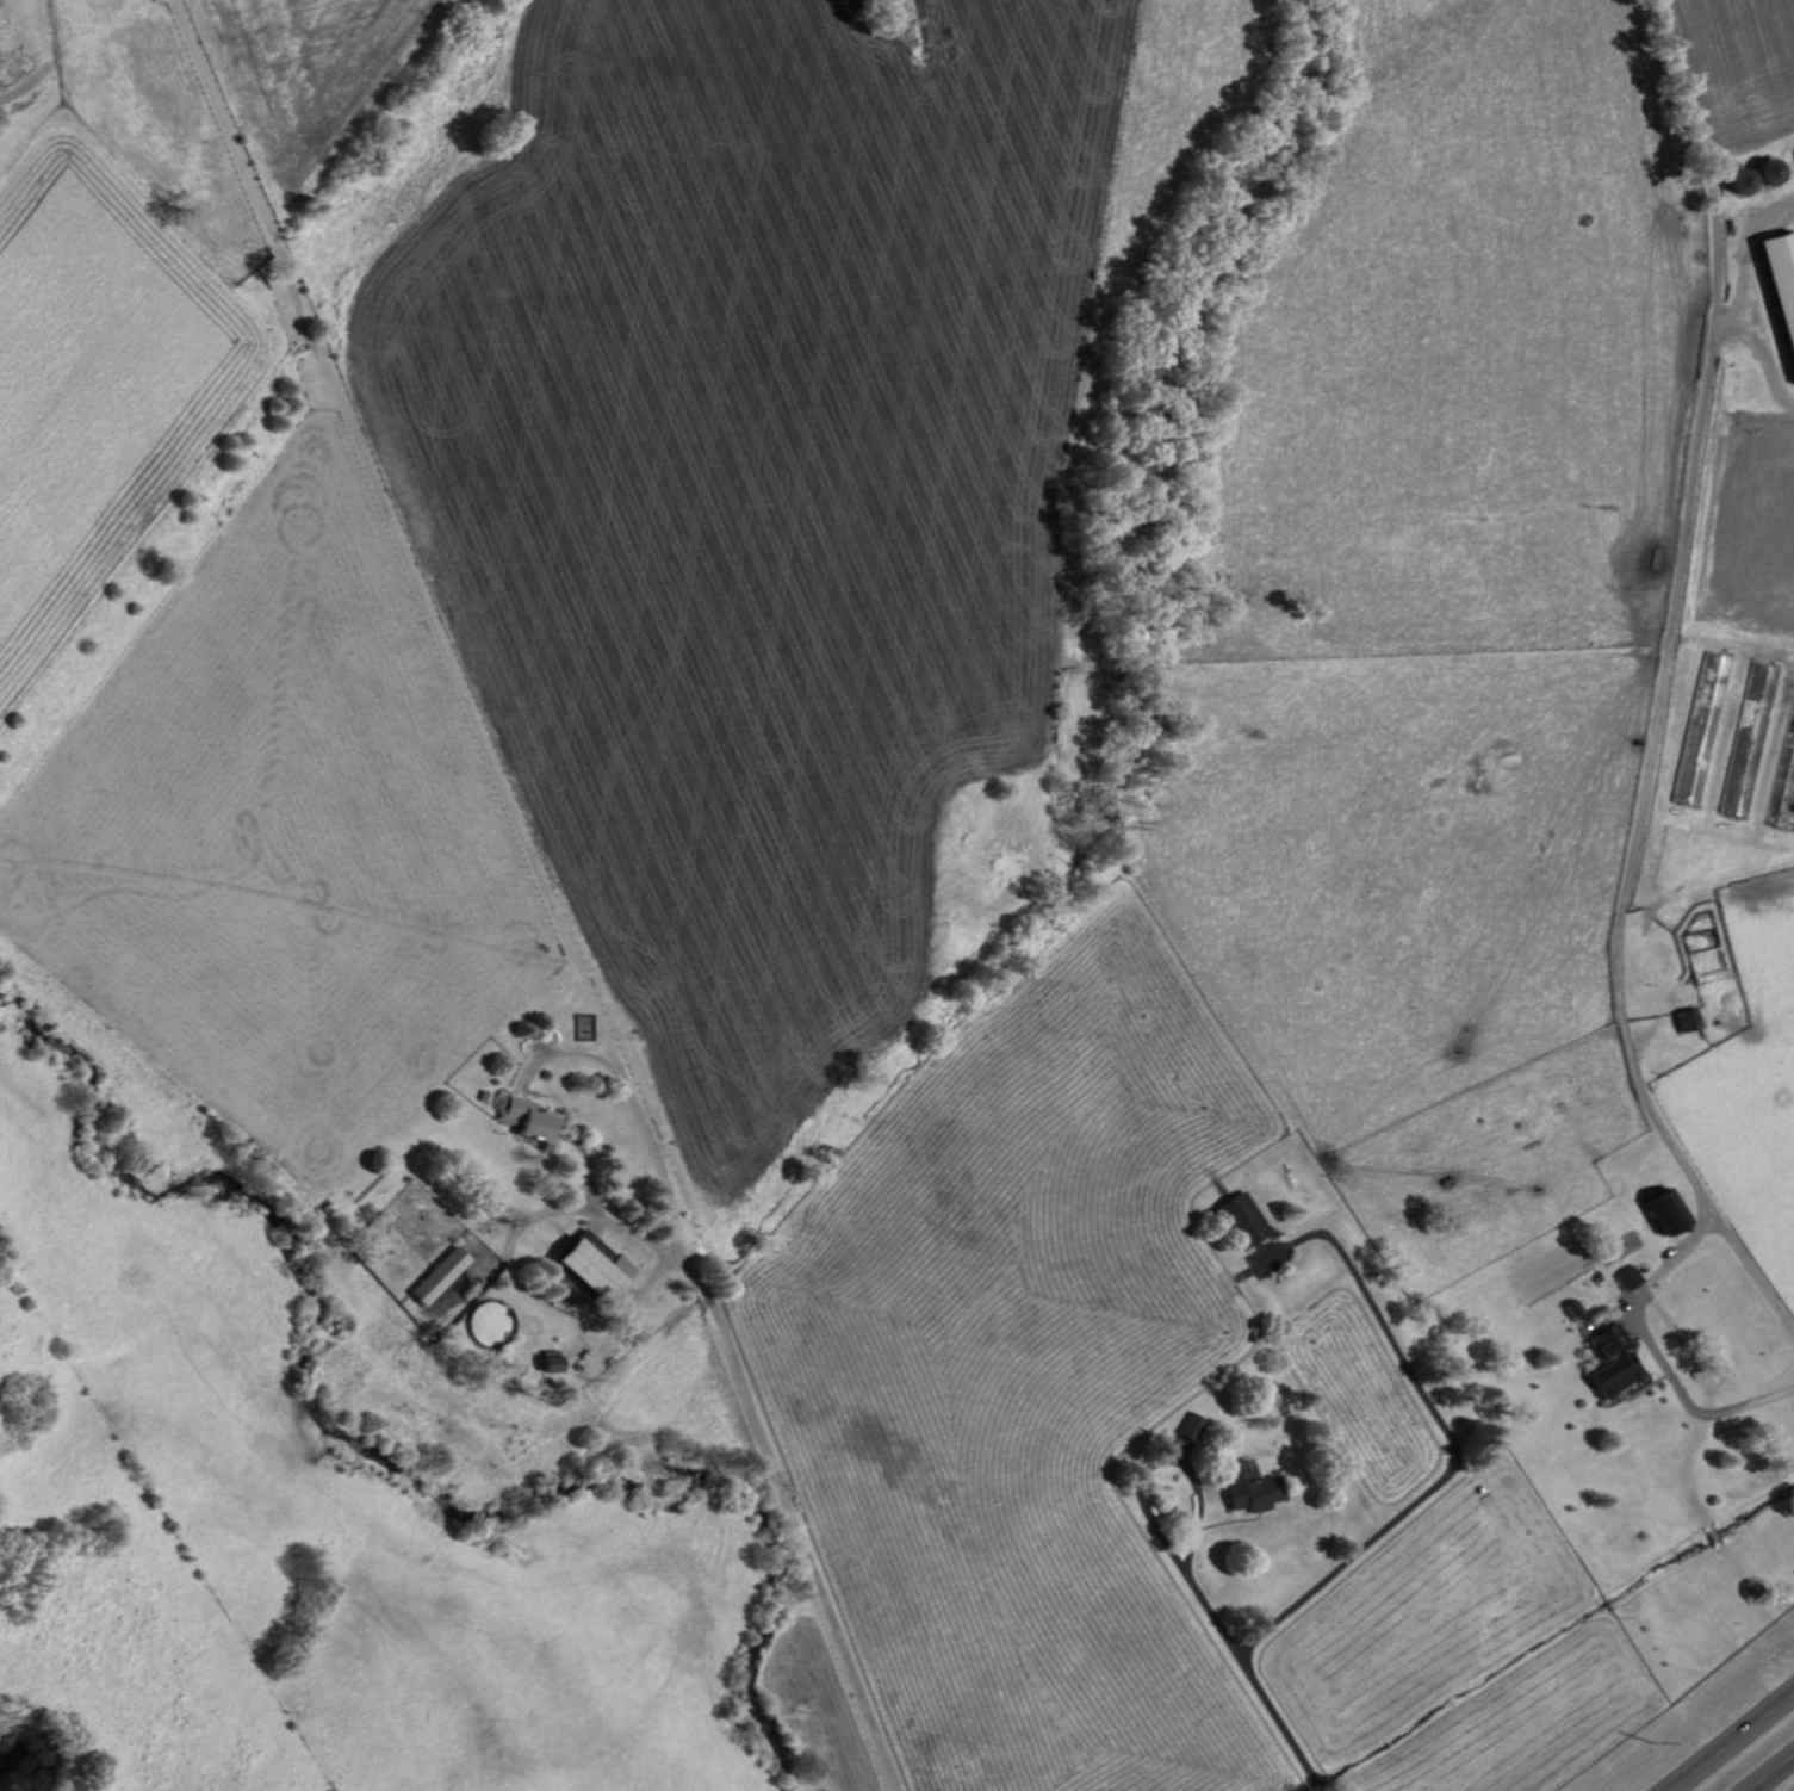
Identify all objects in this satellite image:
building: (1783, 280)
road: (1700, 525)
building: (1703, 730)
building: (1750, 740)
road: (545, 891)
building: (1688, 1020)
building: (534, 1122)
road: (1706, 1180)
building: (1668, 1211)
building: (1244, 1220)
building: (594, 1266)
road: (510, 1272)
building: (441, 1276)
building: (1627, 1278)
road: (1657, 1332)
building: (552, 1361)
building: (1613, 1362)
building: (1193, 1426)
road: (1441, 1429)
building: (1252, 1488)
road: (1247, 1646)
road: (1726, 1737)
road: (1768, 1770)

